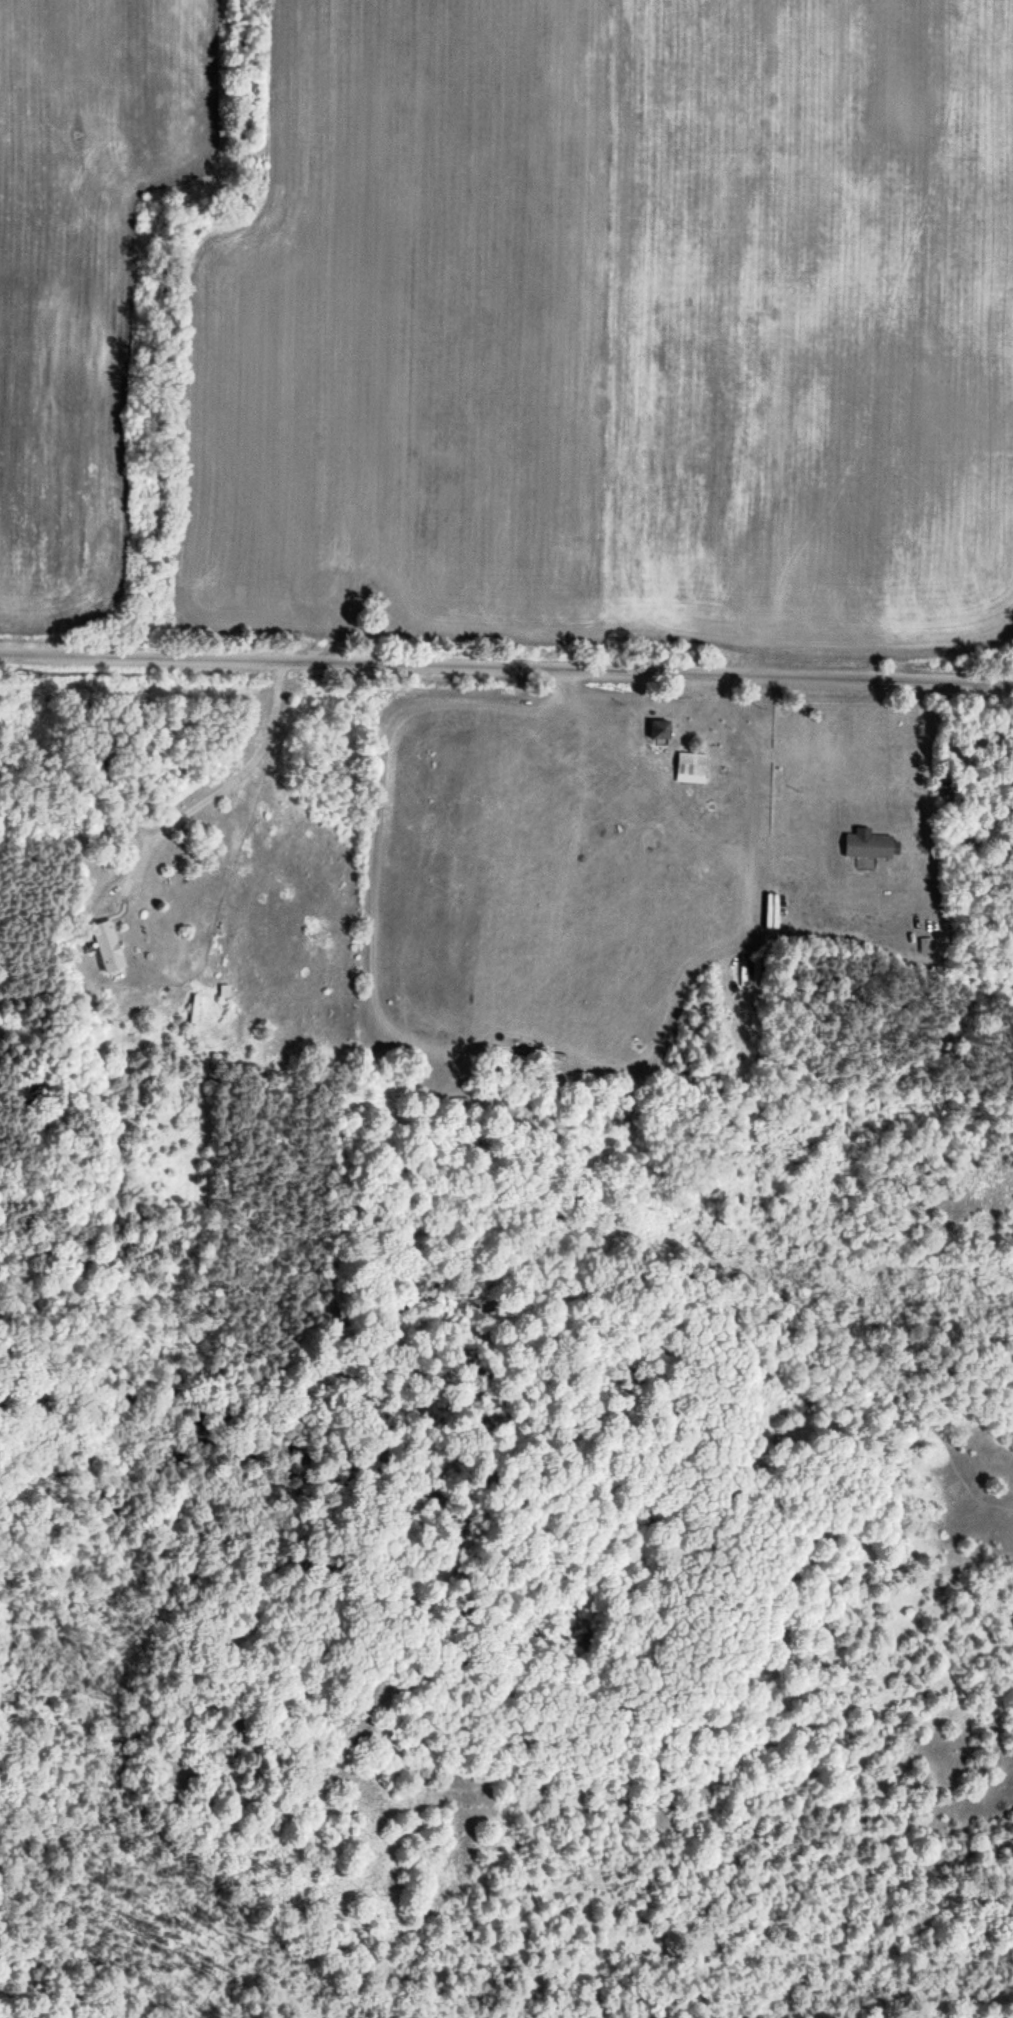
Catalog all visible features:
road: (506, 651)
building: (659, 731)
building: (690, 768)
building: (866, 846)
building: (770, 911)
building: (924, 945)
building: (106, 946)

